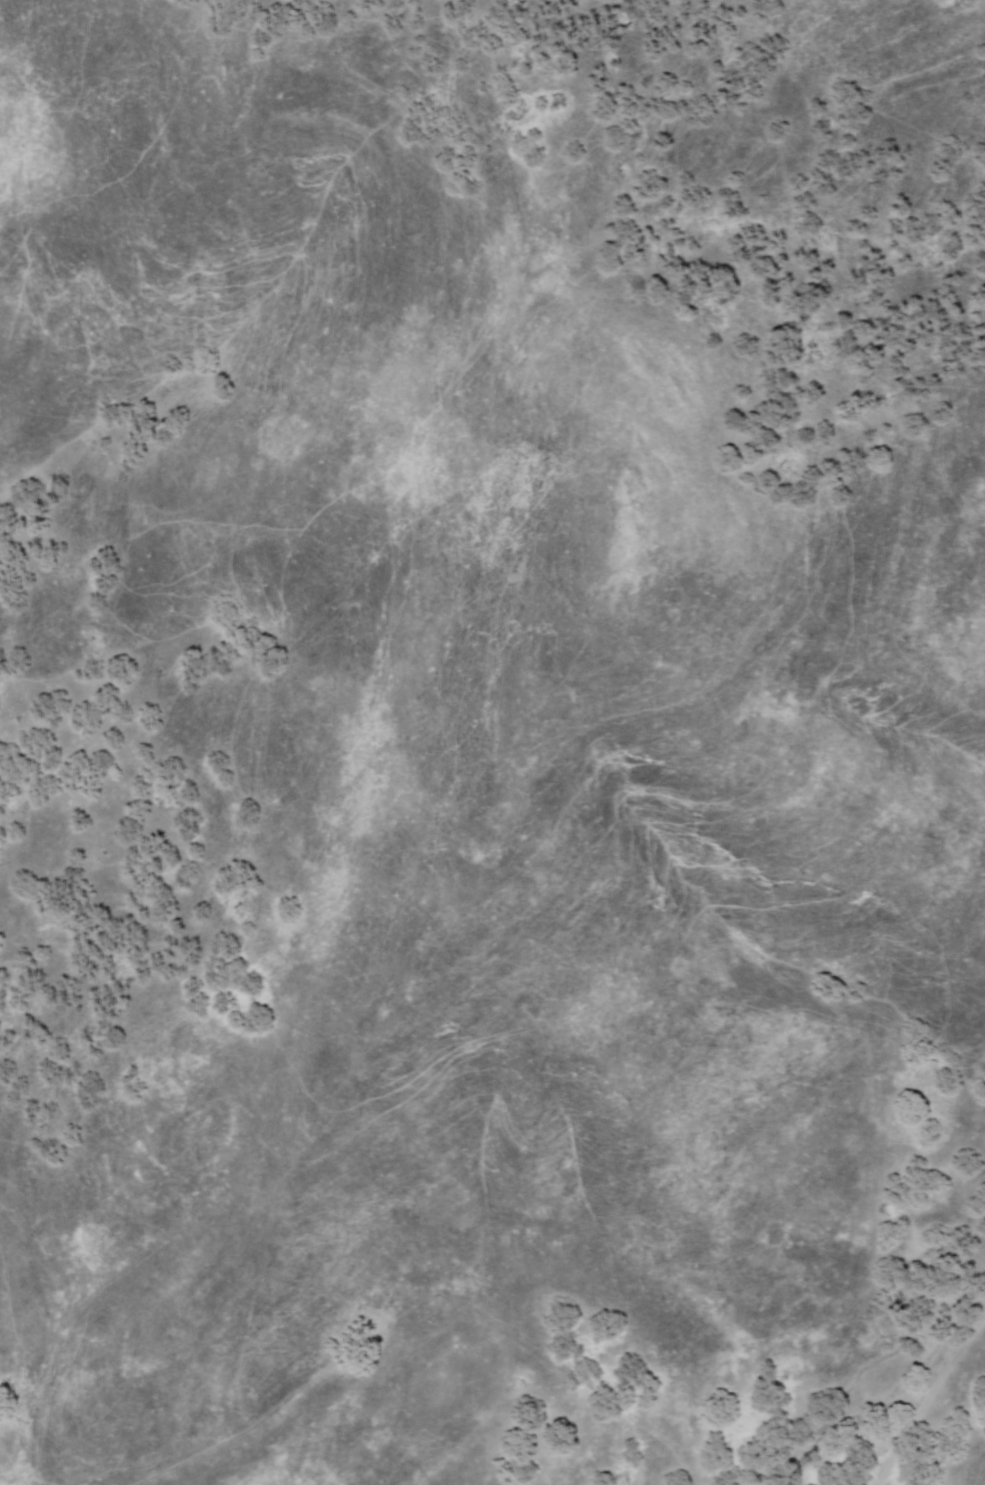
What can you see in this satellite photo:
road: (927, 1399)

